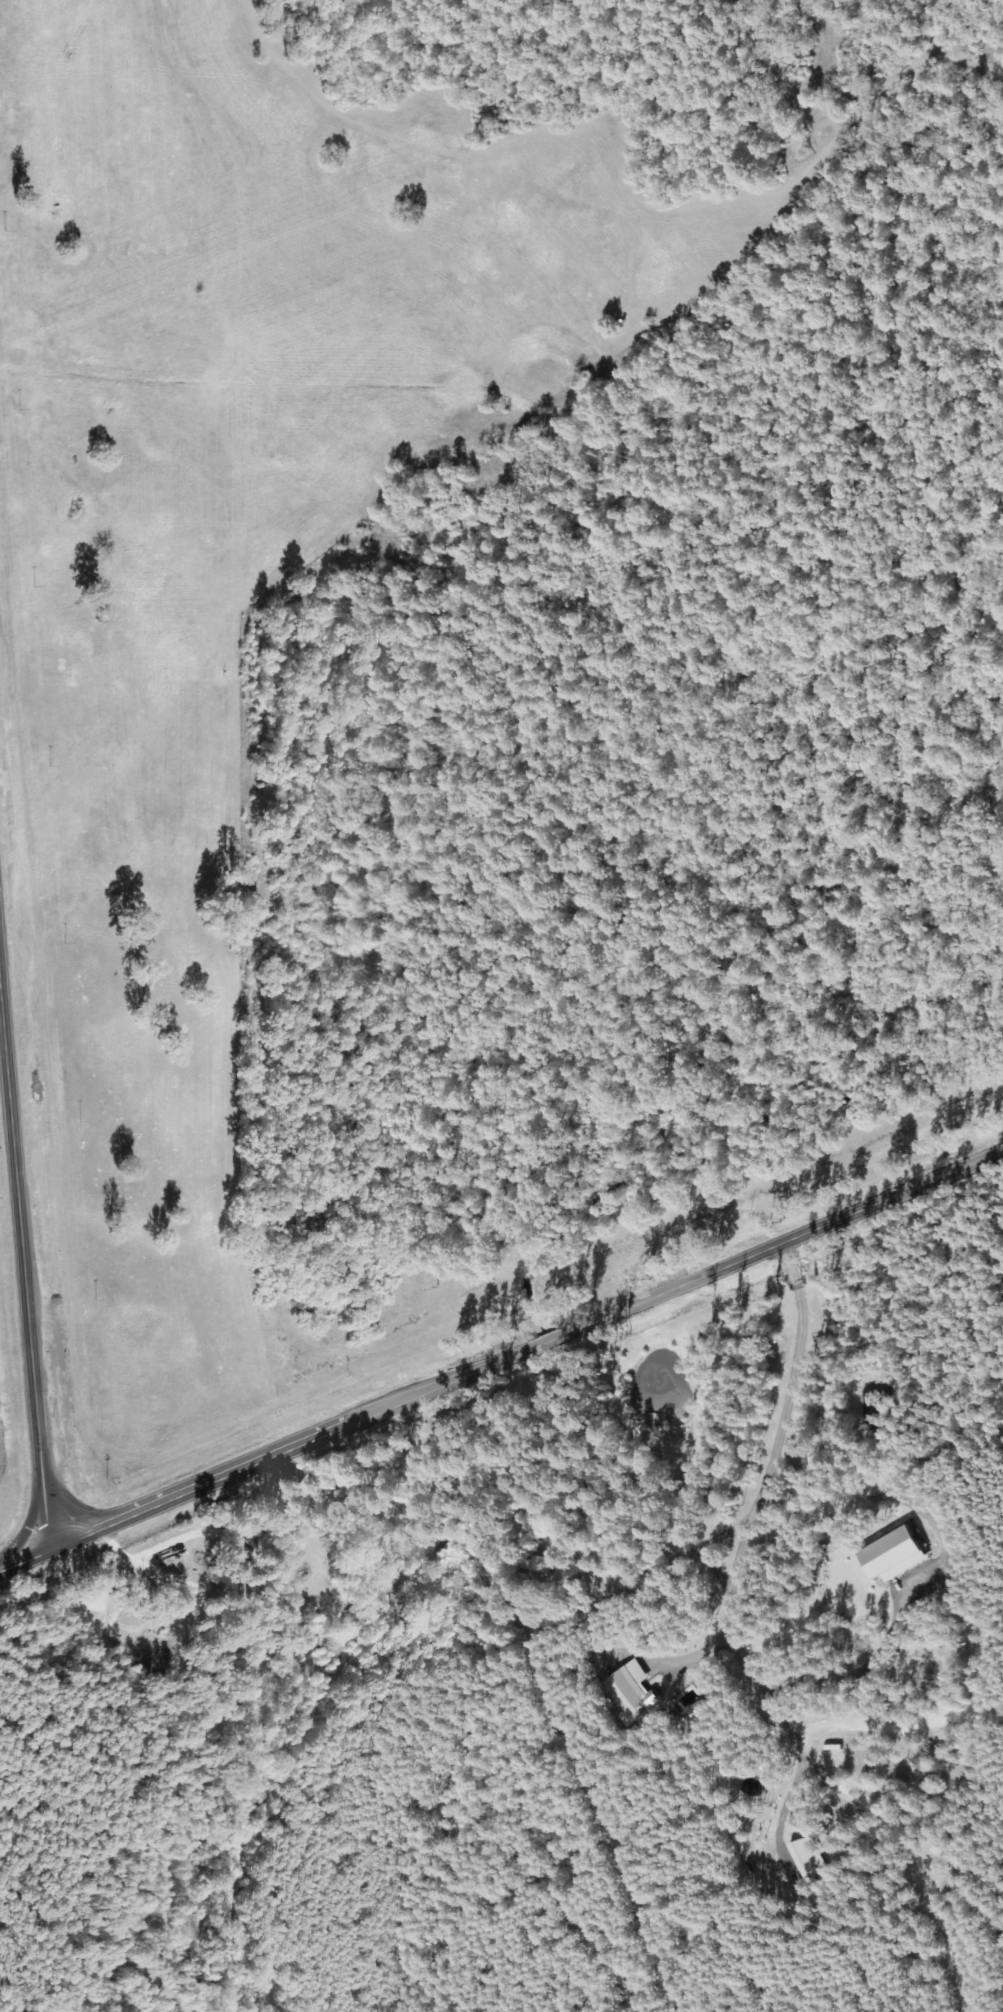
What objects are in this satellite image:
road: (25, 1264)
road: (501, 1359)

